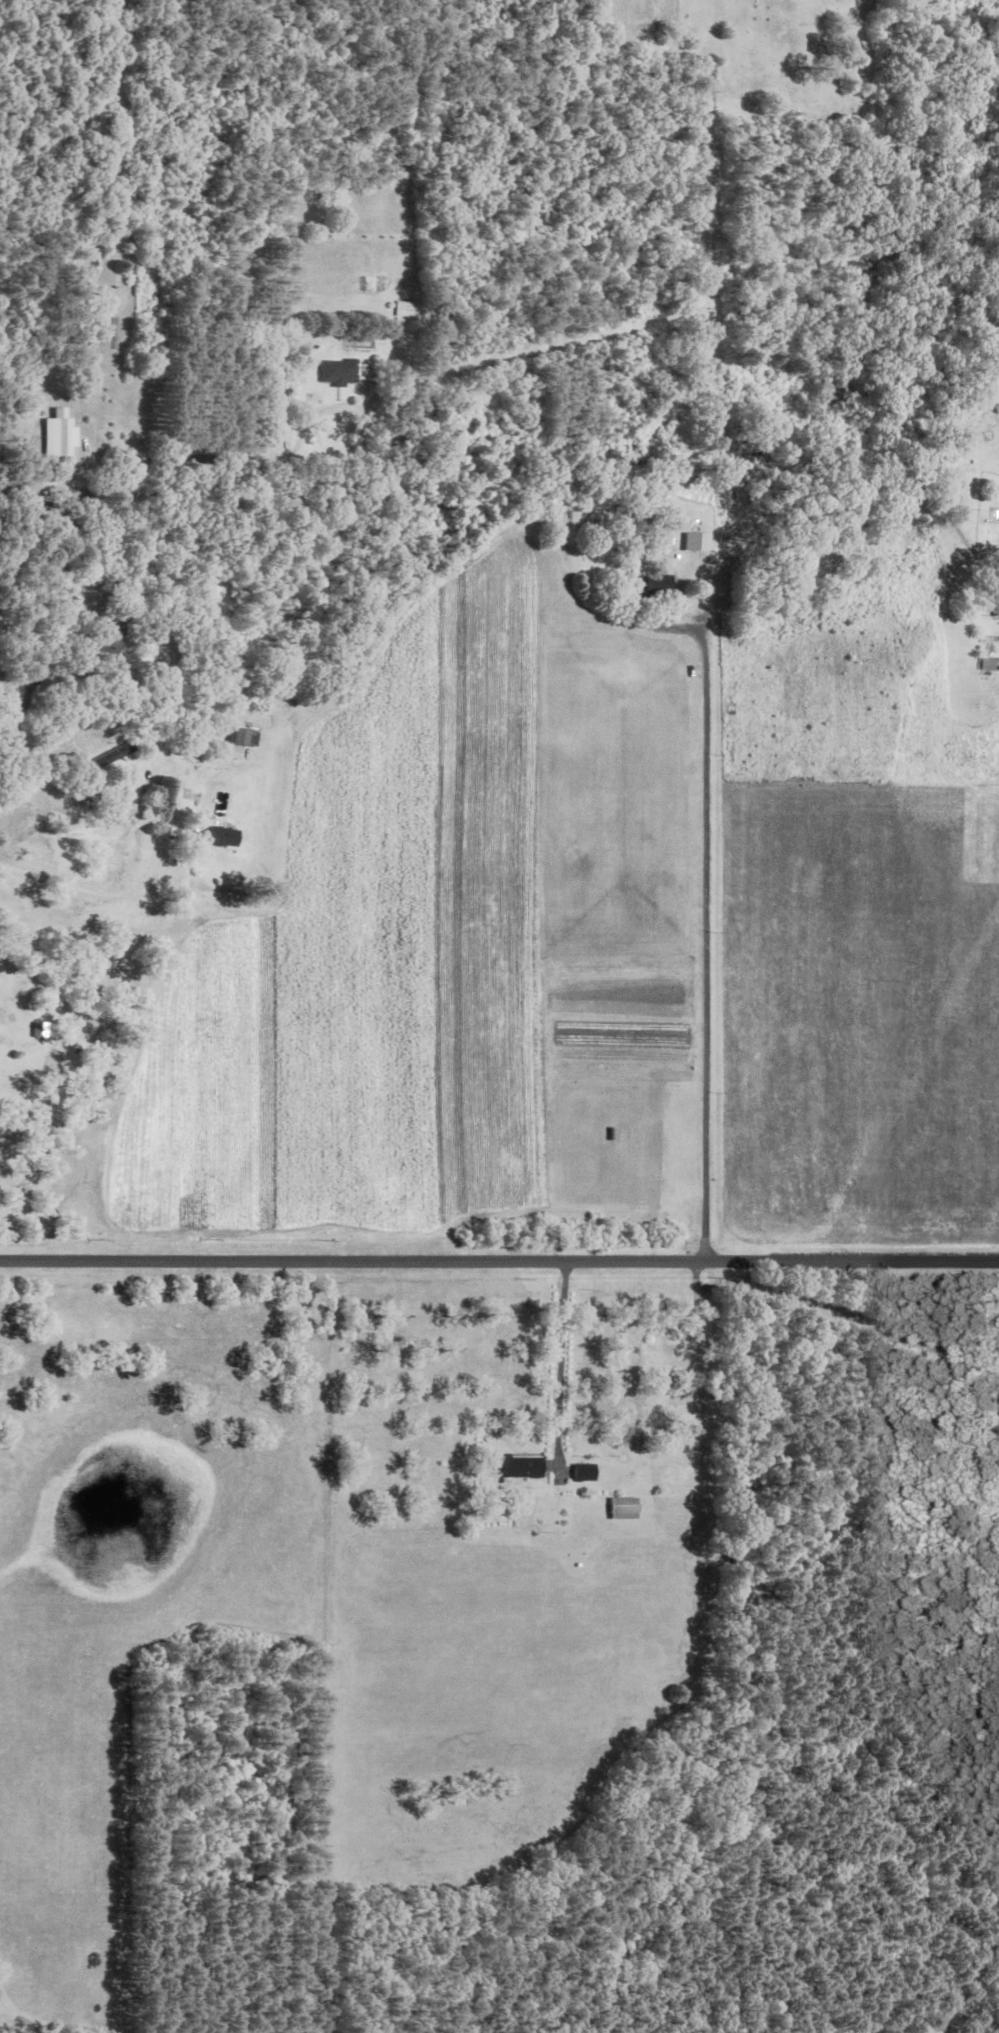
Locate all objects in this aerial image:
building: (402, 308)
building: (343, 371)
road: (122, 389)
building: (61, 434)
building: (695, 541)
building: (990, 664)
building: (247, 736)
building: (119, 754)
building: (224, 835)
road: (119, 892)
road: (711, 953)
building: (44, 1029)
road: (354, 1261)
road: (853, 1265)
road: (561, 1365)
building: (517, 1466)
building: (586, 1472)
building: (625, 1507)
road: (32, 2023)

